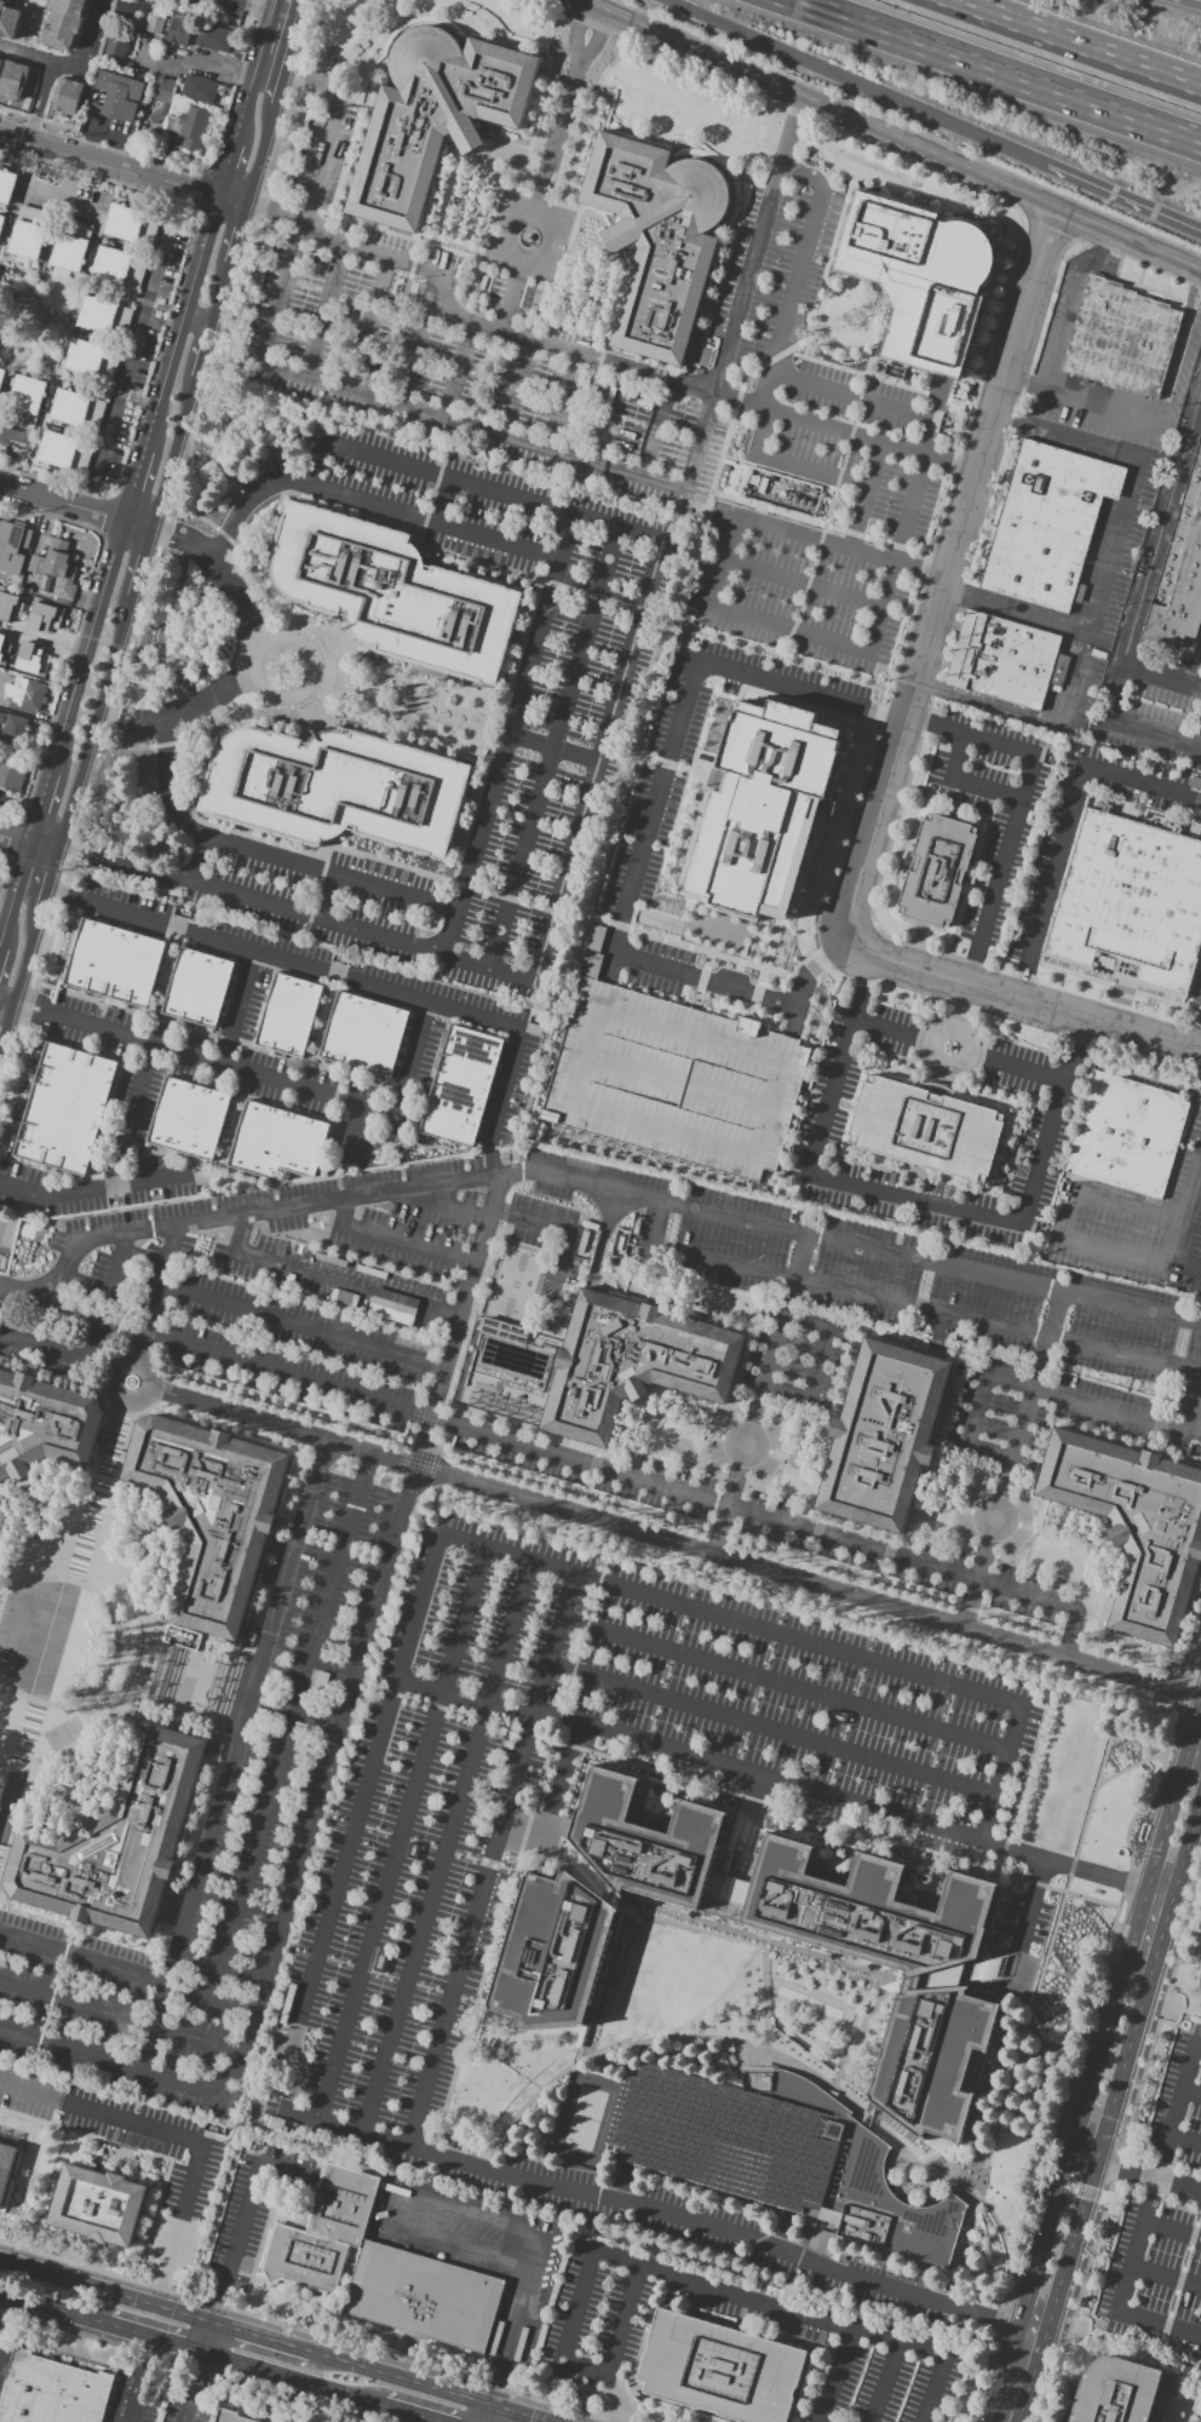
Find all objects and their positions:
road: (1194, 1)
building: (128, 8)
road: (243, 8)
building: (10, 21)
building: (154, 22)
building: (63, 23)
building: (173, 30)
road: (573, 30)
road: (262, 36)
road: (294, 36)
road: (594, 39)
building: (216, 40)
road: (1075, 44)
building: (119, 47)
road: (68, 61)
road: (195, 61)
road: (995, 71)
road: (268, 73)
road: (845, 80)
road: (280, 88)
building: (200, 91)
building: (65, 96)
building: (117, 98)
building: (160, 98)
road: (36, 101)
road: (242, 105)
road: (799, 108)
building: (436, 119)
building: (190, 130)
road: (328, 130)
road: (886, 136)
road: (789, 140)
road: (260, 155)
road: (108, 163)
road: (225, 167)
road: (879, 186)
building: (7, 188)
road: (61, 196)
road: (539, 196)
road: (1114, 197)
road: (231, 200)
road: (80, 208)
road: (272, 212)
road: (841, 212)
road: (10, 222)
building: (1, 225)
road: (844, 226)
building: (132, 228)
building: (30, 235)
road: (236, 235)
fountain: (528, 237)
building: (660, 240)
building: (71, 247)
road: (1015, 263)
building: (120, 269)
road: (436, 270)
building: (920, 276)
road: (994, 280)
road: (74, 286)
road: (113, 287)
road: (96, 288)
road: (5, 289)
road: (837, 291)
road: (219, 294)
road: (786, 295)
road: (1071, 308)
road: (327, 310)
road: (374, 317)
building: (105, 320)
road: (196, 320)
road: (179, 322)
road: (809, 338)
building: (1119, 339)
parking lot: (516, 343)
road: (64, 344)
road: (132, 346)
road: (1179, 351)
road: (202, 352)
road: (571, 354)
road: (803, 356)
building: (93, 360)
road: (25, 367)
road: (459, 372)
building: (2, 381)
road: (887, 381)
road: (90, 386)
road: (518, 390)
road: (847, 391)
road: (1081, 402)
building: (25, 403)
road: (563, 403)
building: (77, 412)
road: (613, 418)
road: (656, 430)
road: (38, 436)
road: (864, 441)
building: (65, 454)
road: (172, 454)
road: (562, 454)
road: (792, 464)
road: (916, 467)
road: (778, 472)
road: (53, 474)
road: (132, 486)
road: (835, 488)
road: (863, 498)
road: (61, 501)
road: (446, 503)
parking lot: (891, 511)
road: (136, 524)
road: (818, 524)
building: (1048, 527)
road: (565, 539)
building: (10, 541)
road: (1114, 544)
road: (828, 545)
road: (140, 563)
road: (222, 567)
building: (56, 569)
building: (1179, 572)
road: (935, 576)
building: (12, 578)
road: (821, 589)
road: (944, 589)
building: (395, 596)
road: (1144, 609)
road: (740, 616)
road: (910, 619)
building: (42, 621)
road: (870, 629)
road: (85, 645)
road: (114, 654)
road: (252, 654)
building: (1009, 661)
building: (30, 664)
road: (314, 673)
road: (1165, 678)
building: (27, 698)
parking lot: (576, 708)
road: (180, 712)
road: (1040, 718)
building: (12, 729)
road: (507, 739)
road: (552, 750)
road: (553, 750)
road: (630, 756)
building: (12, 777)
road: (76, 780)
road: (965, 782)
building: (337, 791)
building: (4, 799)
road: (1019, 805)
road: (38, 807)
road: (585, 809)
building: (765, 809)
road: (1071, 827)
road: (644, 832)
road: (13, 839)
road: (41, 846)
road: (199, 862)
building: (941, 872)
road: (47, 880)
road: (13, 891)
road: (327, 900)
building: (1130, 901)
road: (523, 902)
road: (449, 935)
road: (206, 936)
building: (111, 966)
road: (18, 976)
road: (392, 989)
building: (196, 991)
road: (34, 997)
road: (6, 999)
road: (1042, 1006)
road: (28, 1015)
road: (960, 1016)
building: (286, 1018)
building: (362, 1037)
road: (511, 1040)
road: (960, 1050)
road: (1200, 1050)
road: (218, 1063)
building: (671, 1077)
building: (459, 1089)
building: (67, 1110)
road: (128, 1113)
road: (385, 1113)
building: (190, 1119)
road: (350, 1131)
building: (929, 1131)
building: (1128, 1137)
building: (278, 1143)
road: (507, 1159)
road: (88, 1186)
road: (610, 1192)
road: (910, 1196)
road: (444, 1204)
road: (1128, 1206)
road: (499, 1212)
road: (485, 1218)
road: (1184, 1227)
parking lot: (546, 1234)
road: (396, 1240)
road: (1116, 1250)
road: (328, 1279)
park: (515, 1282)
road: (156, 1284)
road: (904, 1305)
road: (70, 1309)
building: (390, 1310)
road: (299, 1328)
building: (502, 1331)
road: (96, 1342)
road: (137, 1351)
road: (818, 1364)
building: (634, 1365)
road: (143, 1374)
road: (116, 1388)
road: (1053, 1394)
road: (760, 1395)
road: (236, 1414)
fountain: (651, 1418)
building: (44, 1424)
building: (886, 1437)
fountain: (797, 1460)
road: (1012, 1462)
road: (630, 1476)
fountain: (943, 1504)
building: (212, 1513)
road: (667, 1521)
building: (1136, 1526)
fountain: (1094, 1548)
road: (496, 1554)
road: (764, 1569)
road: (361, 1659)
road: (786, 1686)
road: (297, 1715)
road: (293, 1726)
road: (771, 1733)
road: (235, 1758)
road: (1137, 1763)
road: (786, 1785)
parking lot: (473, 1801)
building: (116, 1842)
road: (447, 1849)
road: (487, 1861)
building: (781, 1887)
road: (1006, 1896)
road: (1140, 1899)
building: (553, 1955)
road: (1044, 1962)
road: (128, 1972)
building: (1200, 1982)
building: (1199, 1995)
road: (765, 1997)
road: (1171, 2009)
road: (122, 2020)
building: (381, 2024)
road: (70, 2054)
road: (494, 2055)
road: (783, 2060)
building: (936, 2061)
road: (1122, 2066)
road: (202, 2093)
park: (484, 2093)
road: (1191, 2094)
park: (586, 2120)
road: (1076, 2127)
road: (189, 2141)
road: (1185, 2141)
road: (390, 2142)
building: (723, 2142)
parking lot: (723, 2142)
fountain: (933, 2163)
building: (5, 2164)
road: (1134, 2174)
building: (864, 2181)
building: (98, 2206)
road: (401, 2214)
road: (1147, 2217)
parking lot: (1162, 2221)
road: (240, 2225)
road: (1173, 2229)
building: (324, 2233)
road: (1042, 2243)
road: (538, 2255)
road: (1166, 2280)
road: (1179, 2280)
road: (77, 2286)
road: (729, 2294)
building: (425, 2298)
road: (75, 2314)
road: (5, 2318)
road: (510, 2343)
road: (616, 2344)
road: (1121, 2344)
road: (144, 2349)
road: (200, 2364)
building: (720, 2370)
road: (324, 2371)
road: (837, 2377)
road: (1018, 2377)
road: (889, 2383)
building: (51, 2391)
building: (1116, 2391)
road: (130, 2399)
road: (188, 2406)
building: (231, 2417)

